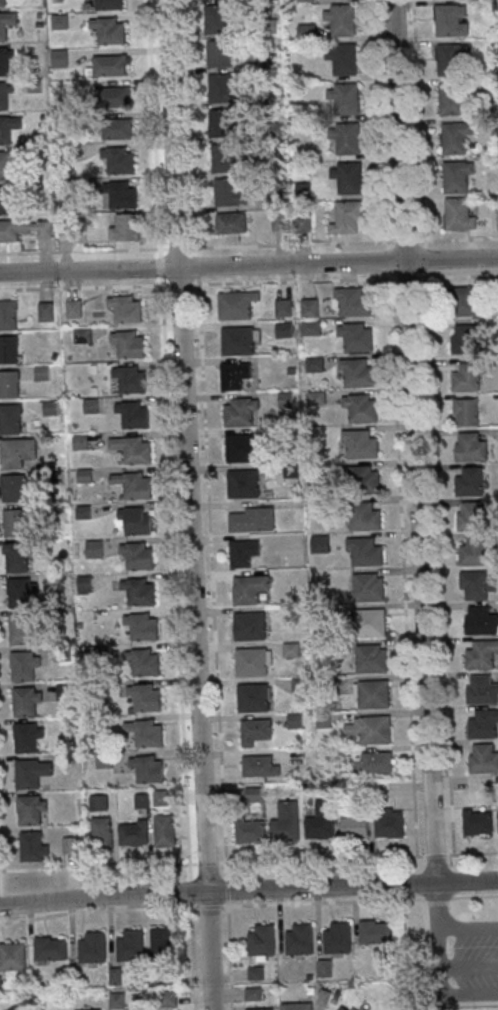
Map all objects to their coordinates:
building: (306, 0)
building: (107, 4)
building: (215, 19)
building: (339, 19)
building: (449, 19)
building: (6, 23)
building: (107, 30)
building: (307, 31)
building: (217, 53)
building: (60, 58)
building: (449, 58)
building: (341, 59)
building: (6, 61)
building: (110, 65)
building: (218, 87)
building: (6, 96)
building: (116, 96)
building: (451, 97)
building: (343, 98)
road: (417, 120)
road: (380, 121)
building: (219, 122)
building: (8, 128)
building: (118, 128)
building: (344, 137)
building: (453, 137)
road: (153, 142)
building: (221, 157)
building: (118, 160)
building: (8, 165)
building: (455, 175)
building: (347, 176)
building: (224, 191)
building: (120, 194)
building: (7, 199)
building: (460, 213)
building: (346, 216)
building: (232, 222)
building: (304, 222)
building: (125, 226)
building: (24, 229)
road: (249, 246)
road: (249, 263)
road: (248, 282)
building: (466, 301)
building: (353, 302)
building: (237, 304)
building: (284, 308)
building: (125, 309)
building: (46, 311)
building: (9, 315)
building: (285, 330)
building: (355, 337)
building: (236, 340)
building: (466, 340)
building: (128, 344)
building: (9, 349)
building: (356, 372)
building: (235, 374)
building: (467, 378)
building: (130, 379)
building: (10, 384)
building: (286, 399)
building: (92, 405)
building: (358, 407)
building: (238, 411)
building: (466, 412)
building: (133, 414)
building: (11, 419)
road: (203, 431)
road: (414, 441)
building: (81, 442)
building: (358, 443)
building: (469, 447)
building: (240, 448)
building: (135, 450)
building: (17, 452)
building: (86, 476)
building: (360, 479)
building: (471, 482)
building: (241, 483)
building: (134, 486)
building: (14, 488)
road: (189, 504)
building: (362, 515)
building: (471, 516)
building: (253, 519)
building: (135, 520)
building: (16, 523)
building: (321, 543)
road: (438, 547)
road: (401, 548)
building: (95, 549)
building: (364, 551)
building: (476, 551)
building: (244, 552)
building: (137, 556)
building: (17, 558)
road: (174, 574)
building: (478, 584)
building: (366, 587)
building: (250, 588)
building: (138, 591)
building: (21, 592)
building: (479, 620)
building: (369, 622)
building: (142, 626)
building: (249, 626)
building: (21, 630)
building: (292, 649)
building: (482, 654)
building: (370, 658)
building: (144, 661)
building: (250, 661)
building: (25, 667)
building: (481, 690)
building: (373, 694)
building: (145, 697)
building: (252, 698)
building: (26, 702)
building: (296, 720)
building: (484, 724)
building: (258, 730)
building: (374, 730)
building: (147, 733)
building: (28, 737)
building: (482, 758)
building: (378, 762)
building: (261, 766)
building: (148, 769)
building: (33, 772)
building: (161, 797)
building: (143, 800)
building: (99, 802)
building: (32, 808)
building: (478, 821)
building: (321, 822)
building: (287, 823)
building: (391, 823)
building: (356, 827)
building: (165, 830)
building: (103, 831)
building: (251, 832)
building: (135, 833)
building: (72, 843)
building: (34, 846)
road: (248, 861)
road: (248, 888)
road: (248, 904)
road: (436, 906)
road: (467, 927)
building: (376, 931)
building: (338, 937)
building: (262, 939)
building: (300, 939)
building: (164, 943)
building: (131, 946)
building: (52, 948)
building: (93, 948)
building: (13, 956)
road: (228, 957)
road: (192, 958)
building: (325, 968)
road: (439, 990)
building: (254, 993)
building: (297, 1006)
building: (261, 1008)
building: (93, 1009)
building: (338, 1009)

